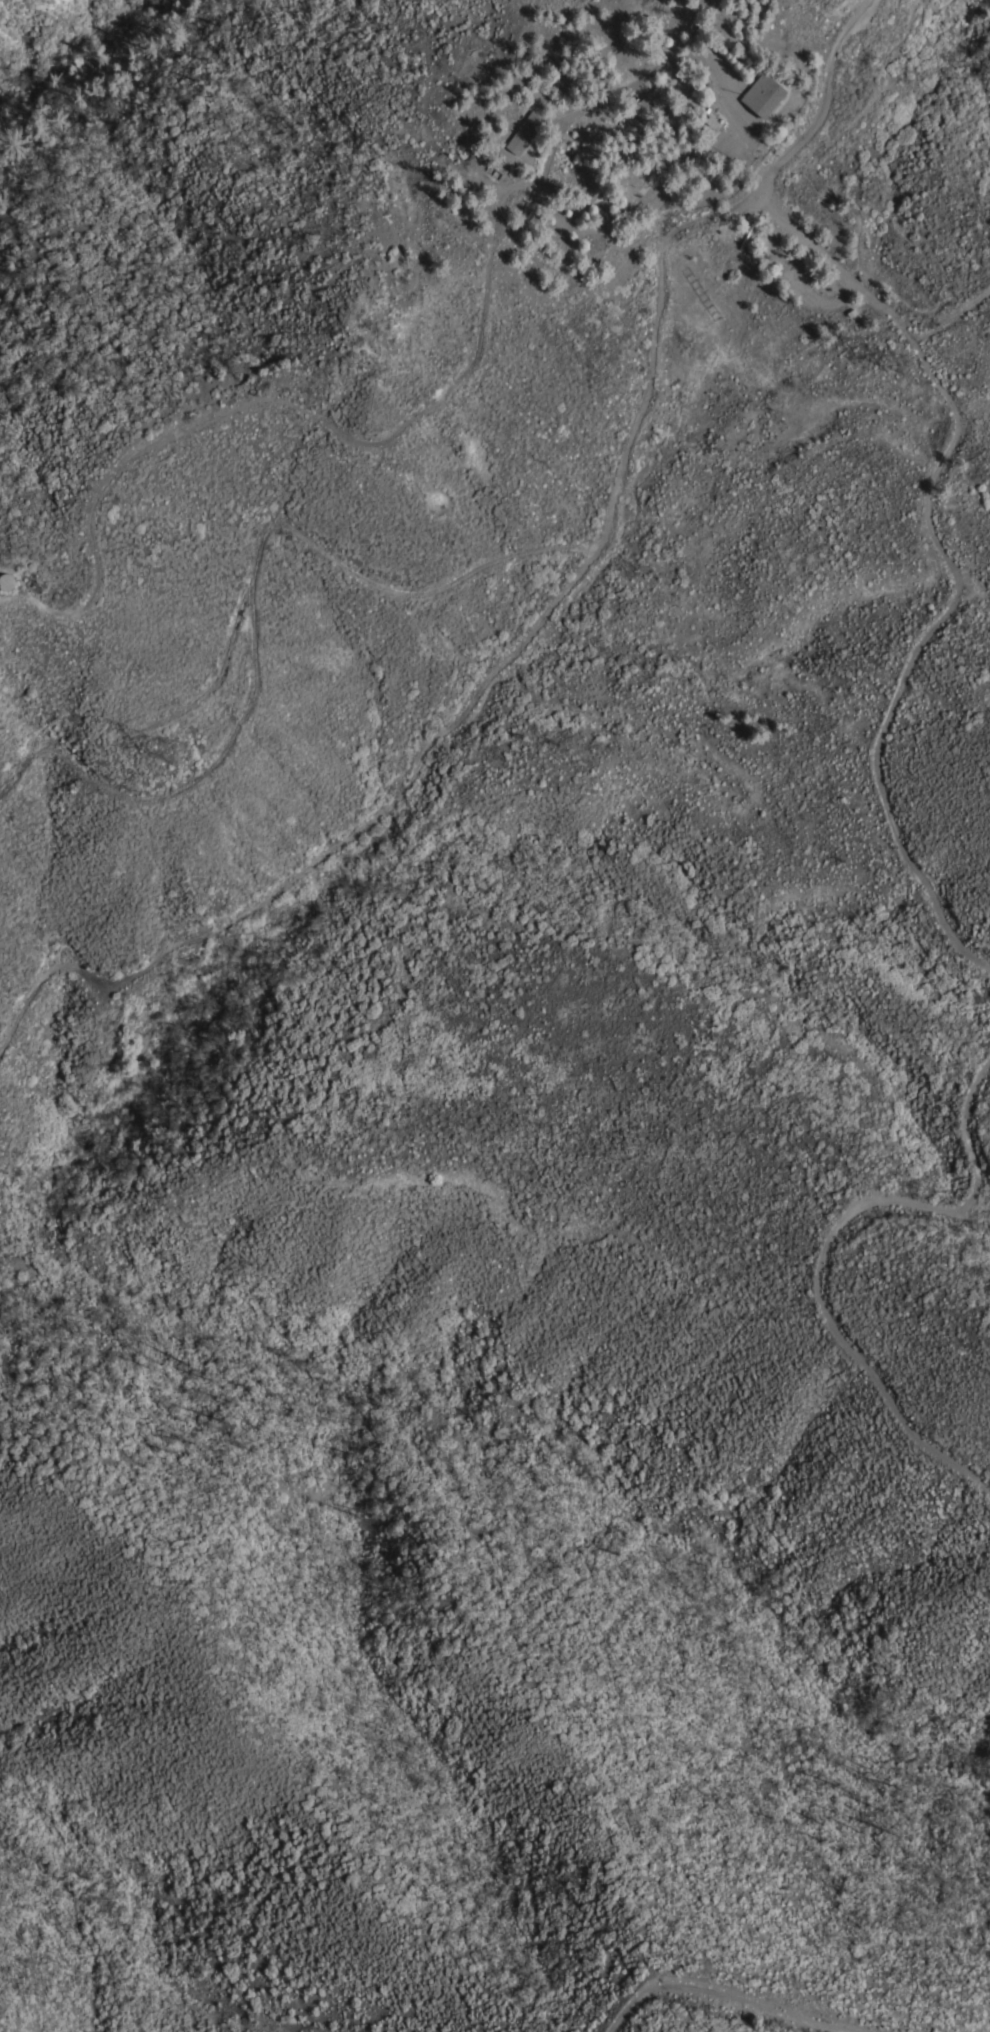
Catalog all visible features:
road: (691, 21)
building: (762, 94)
building: (651, 99)
road: (547, 118)
building: (709, 124)
building: (520, 132)
road: (744, 156)
road: (754, 166)
road: (541, 188)
road: (822, 196)
road: (573, 216)
road: (610, 217)
storage tank: (743, 236)
road: (847, 272)
road: (805, 293)
road: (844, 300)
road: (848, 309)
building: (848, 313)
road: (952, 316)
power tower: (896, 363)
road: (297, 415)
road: (939, 461)
building: (50, 579)
road: (255, 604)
road: (228, 672)
road: (466, 705)
power tower: (167, 750)
road: (823, 1243)
road: (721, 1994)

